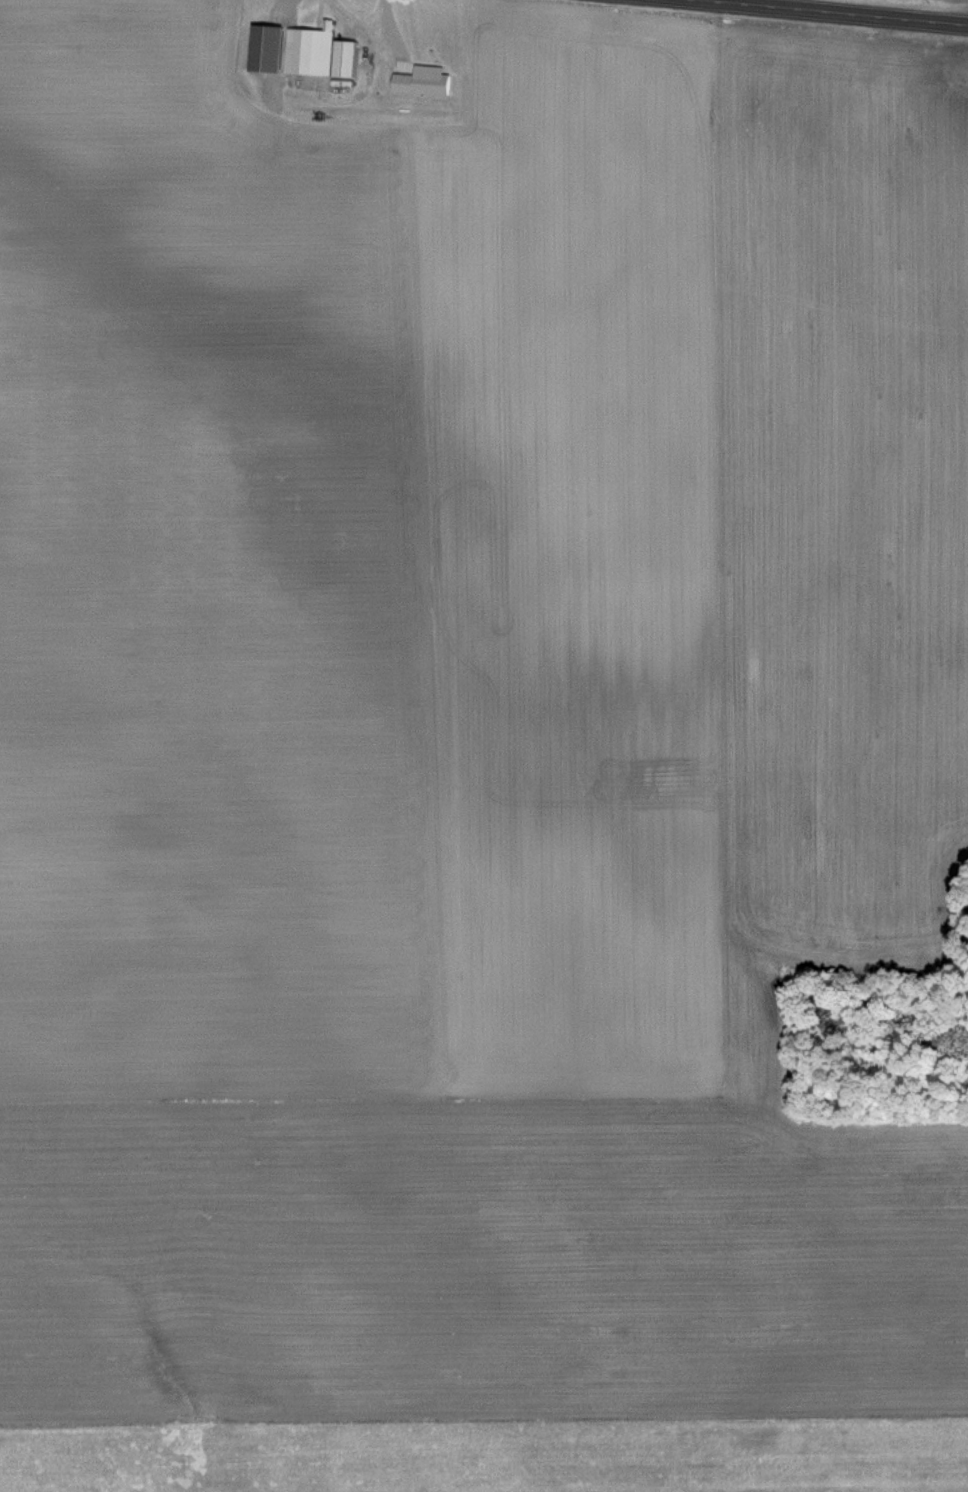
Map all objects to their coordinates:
road: (833, 9)
road: (352, 38)
building: (261, 49)
building: (316, 53)
building: (421, 81)

